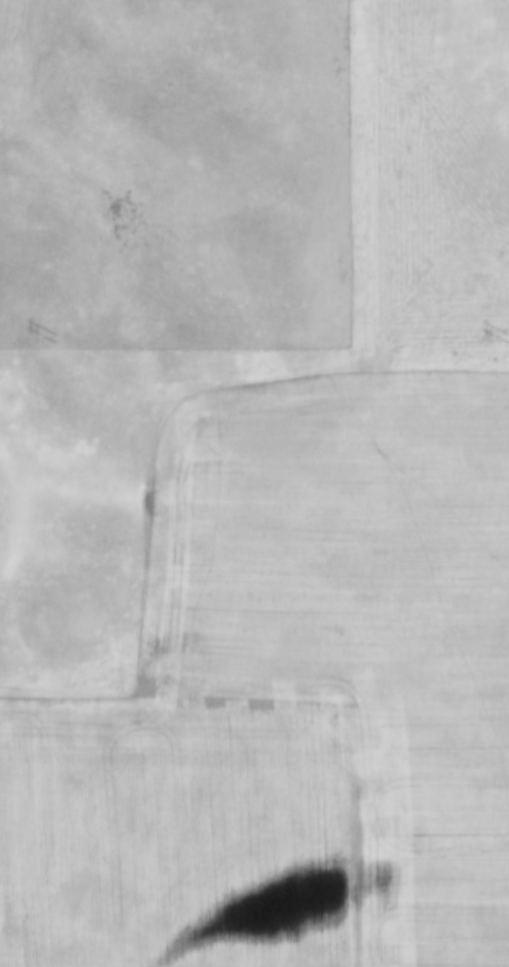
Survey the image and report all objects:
road: (298, 704)

